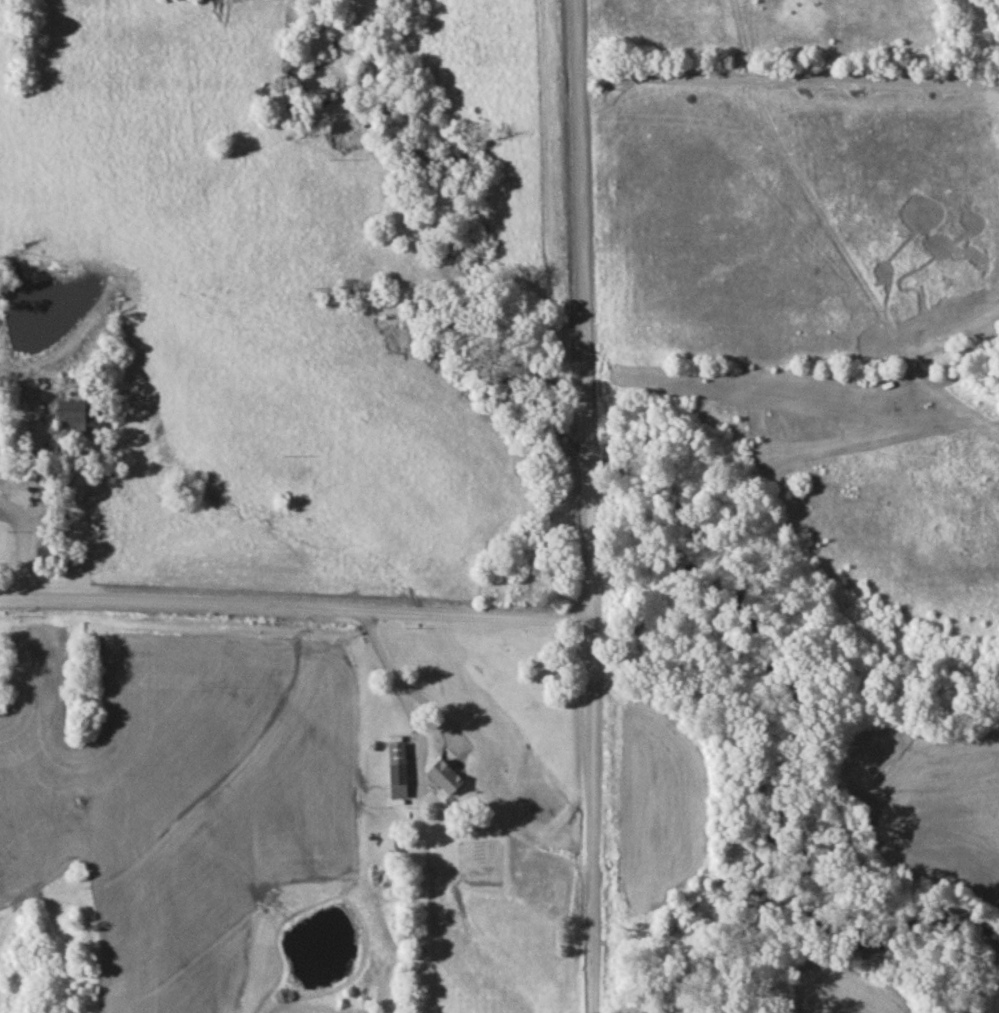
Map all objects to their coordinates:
road: (790, 80)
building: (81, 416)
building: (1, 489)
road: (589, 506)
road: (19, 514)
building: (54, 557)
road: (295, 610)
road: (405, 702)
building: (401, 771)
building: (450, 778)

